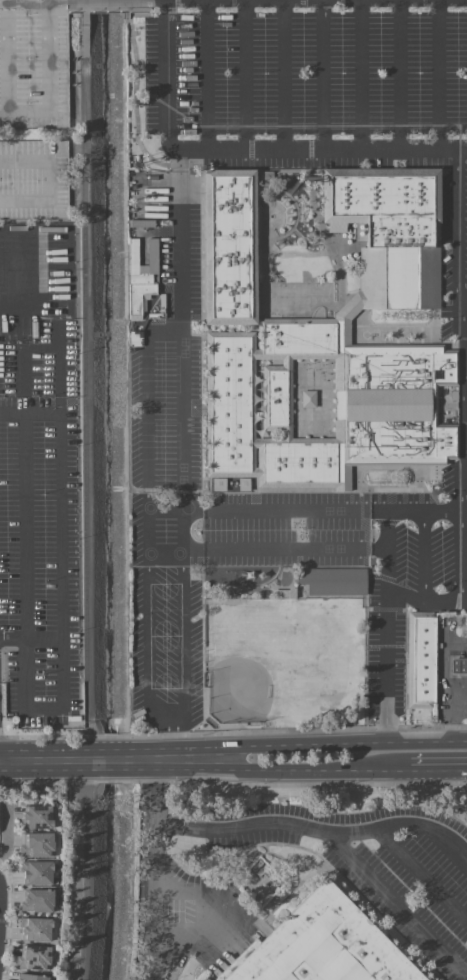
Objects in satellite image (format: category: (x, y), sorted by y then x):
road: (117, 0)
road: (36, 1)
road: (209, 76)
road: (244, 76)
road: (285, 76)
road: (320, 76)
road: (360, 76)
road: (400, 76)
road: (440, 76)
building: (57, 109)
road: (25, 112)
road: (242, 153)
road: (50, 182)
road: (178, 241)
building: (232, 248)
building: (140, 277)
road: (463, 303)
parking lot: (299, 325)
road: (164, 329)
building: (340, 359)
road: (460, 377)
road: (463, 407)
building: (218, 483)
road: (426, 510)
road: (306, 512)
road: (59, 527)
road: (265, 550)
road: (424, 557)
building: (332, 580)
road: (387, 603)
road: (464, 603)
road: (26, 614)
building: (465, 619)
park: (274, 655)
building: (420, 659)
building: (458, 665)
road: (161, 716)
road: (452, 717)
road: (171, 731)
road: (310, 744)
road: (118, 748)
road: (41, 749)
road: (153, 759)
road: (439, 769)
road: (282, 770)
road: (117, 771)
road: (41, 772)
road: (151, 801)
building: (36, 817)
road: (312, 832)
building: (36, 844)
building: (36, 872)
road: (426, 875)
building: (37, 900)
road: (398, 905)
road: (152, 906)
road: (189, 915)
road: (3, 919)
building: (35, 929)
building: (327, 947)
building: (33, 957)
building: (30, 977)
building: (205, 979)

